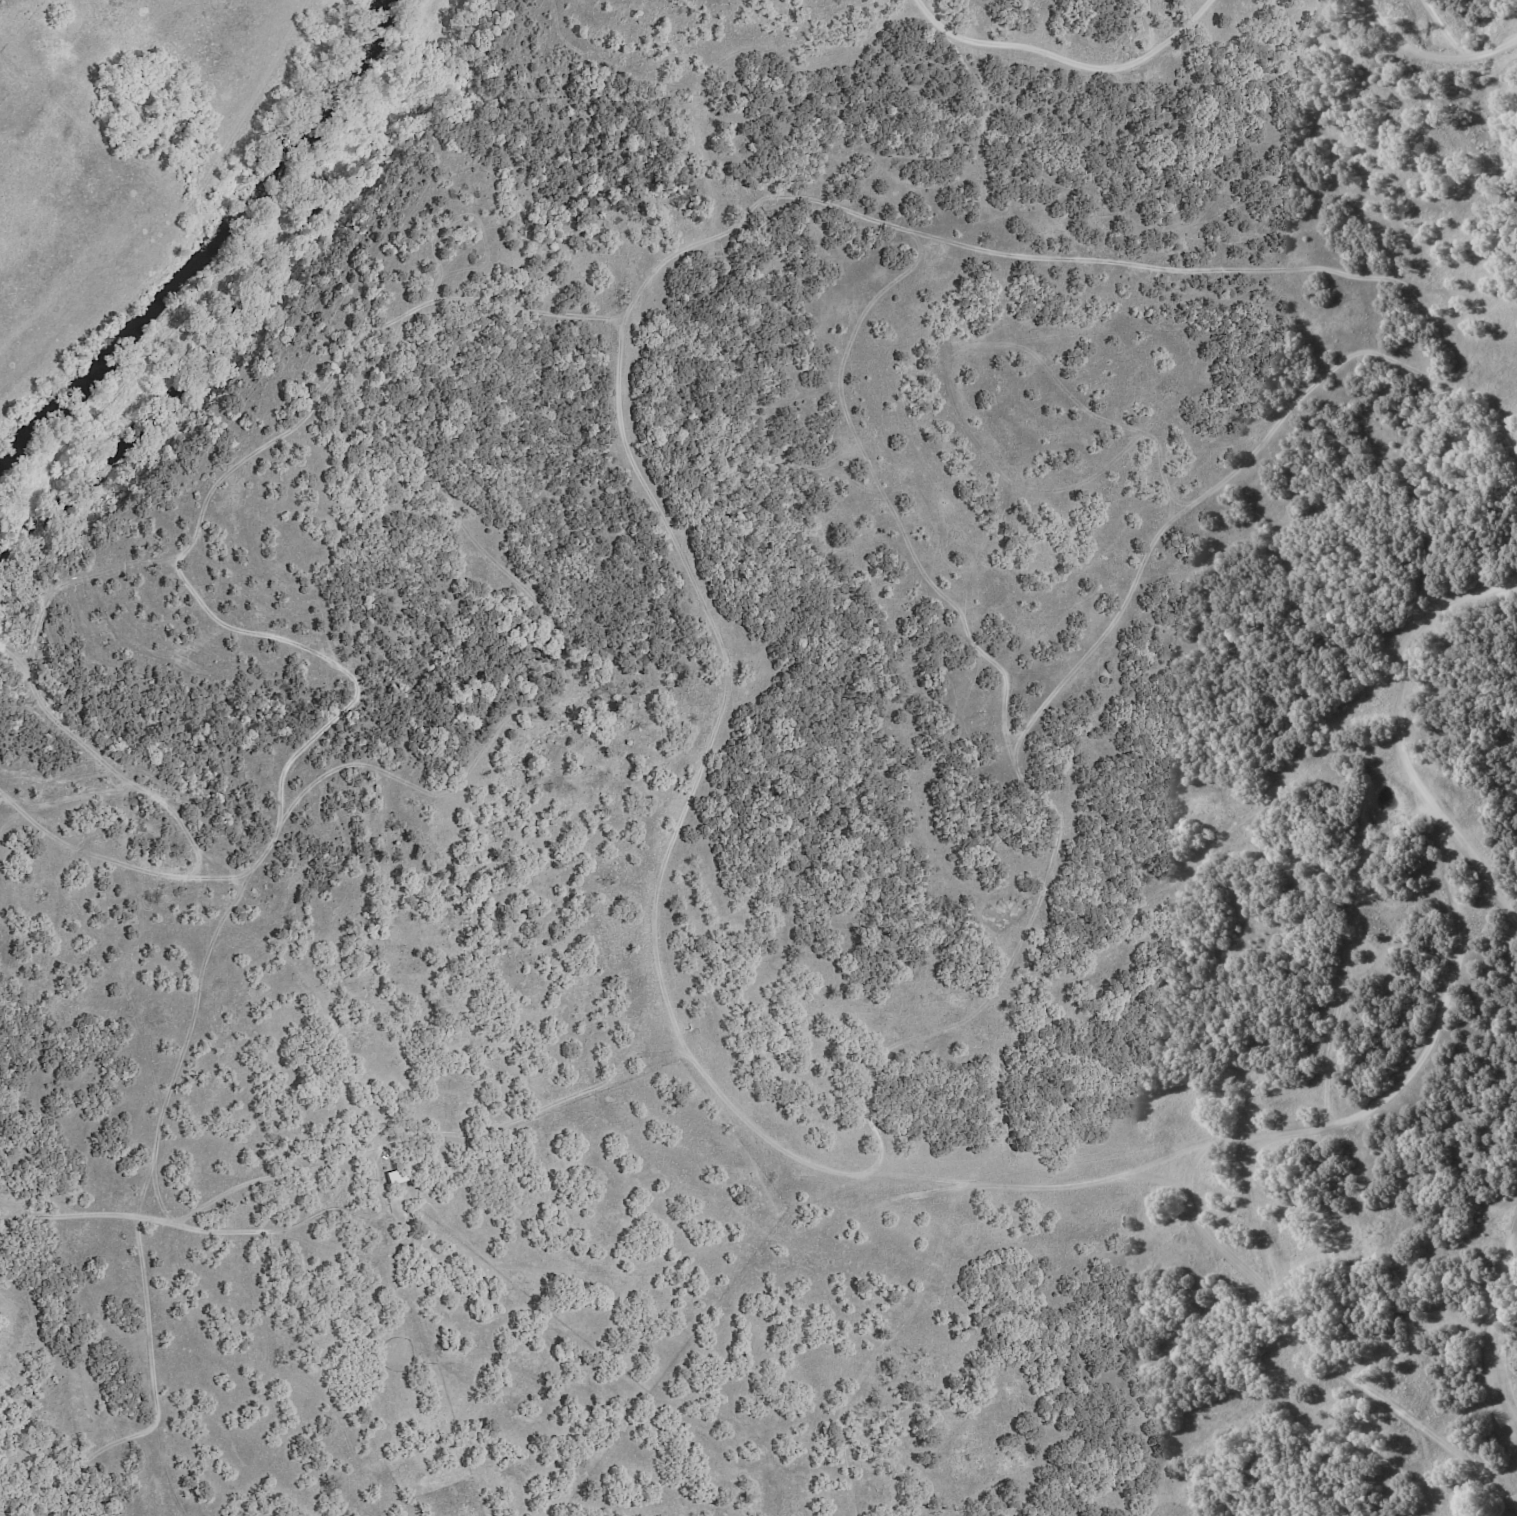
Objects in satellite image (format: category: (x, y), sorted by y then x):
building: (394, 1176)

